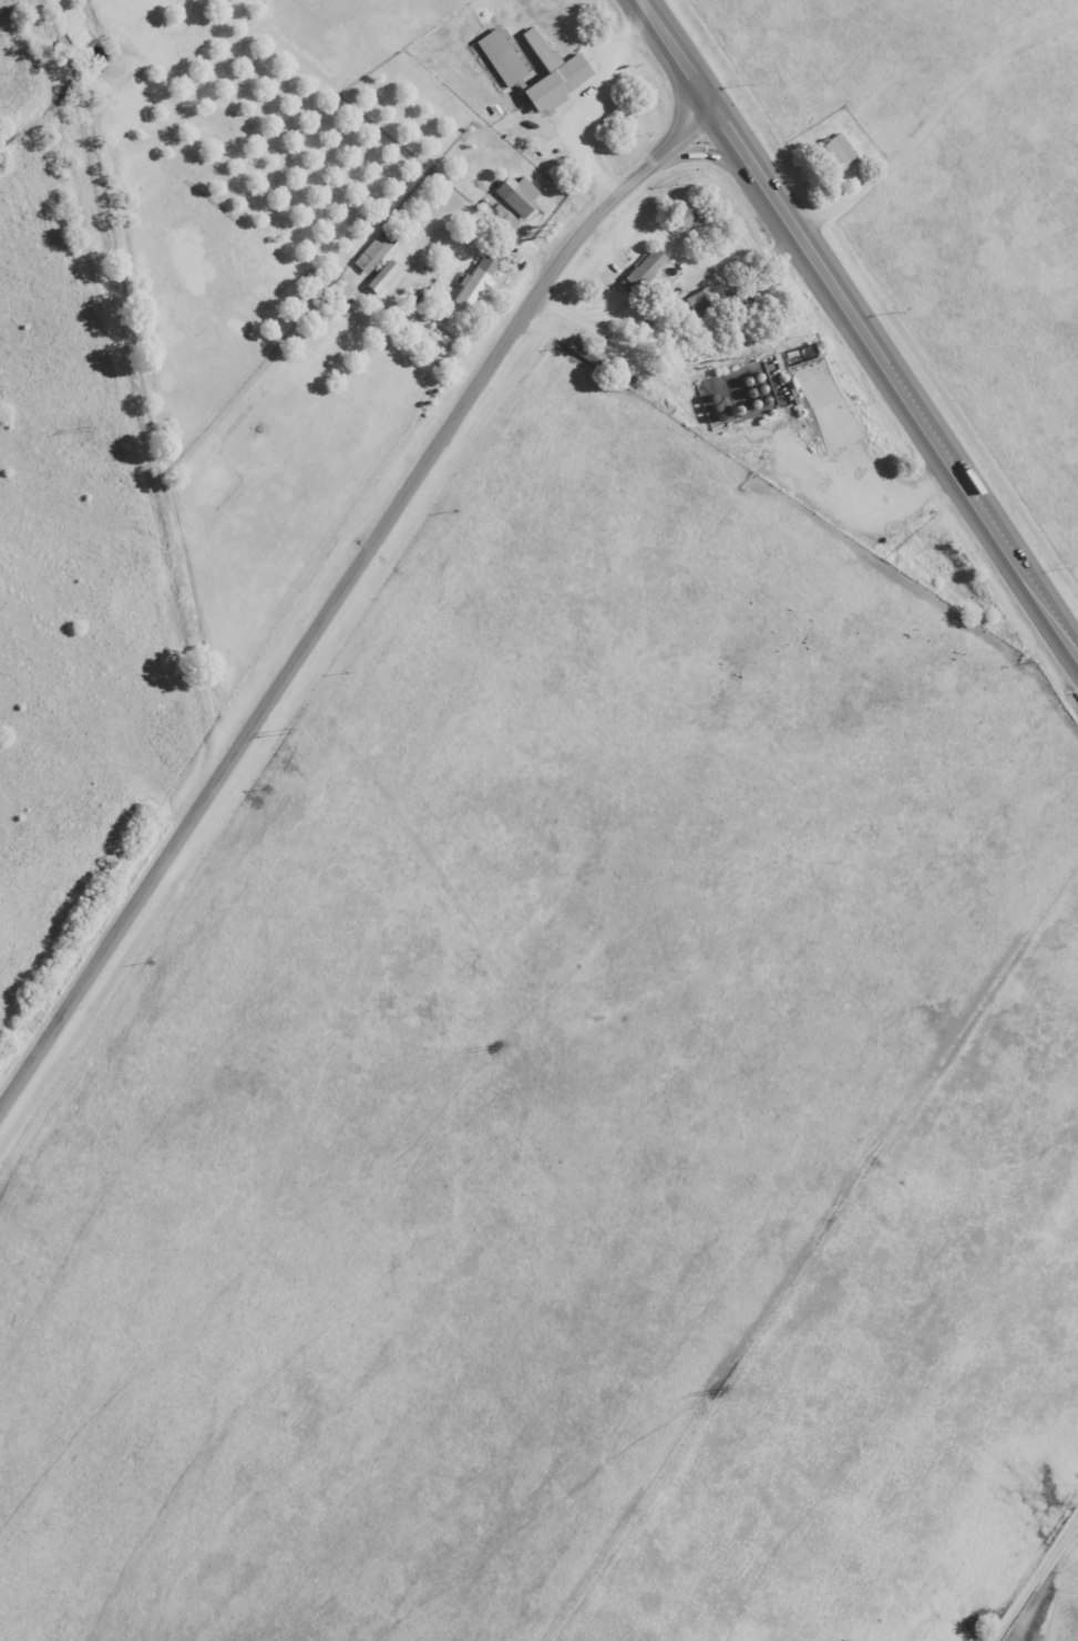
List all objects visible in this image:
building: (563, 69)
road: (890, 103)
building: (835, 151)
building: (514, 195)
building: (371, 251)
building: (638, 272)
building: (380, 277)
building: (472, 282)
building: (699, 301)
road: (863, 324)
power tower: (92, 429)
road: (338, 592)
power tower: (291, 733)
power tower: (500, 1050)
power tower: (726, 1394)

